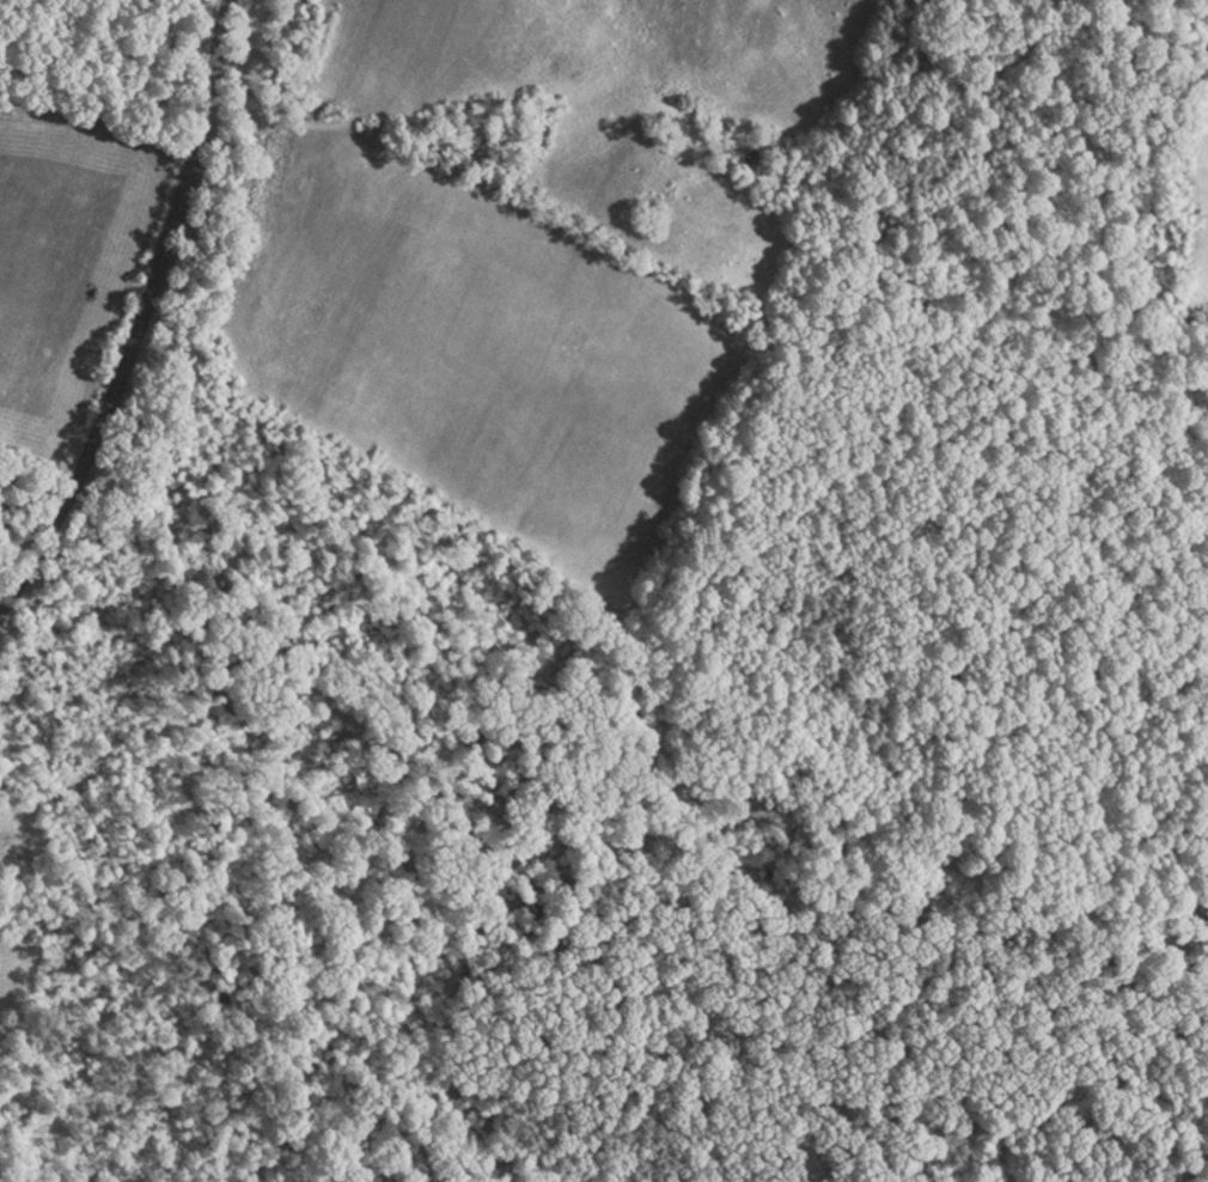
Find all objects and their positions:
road: (142, 321)

